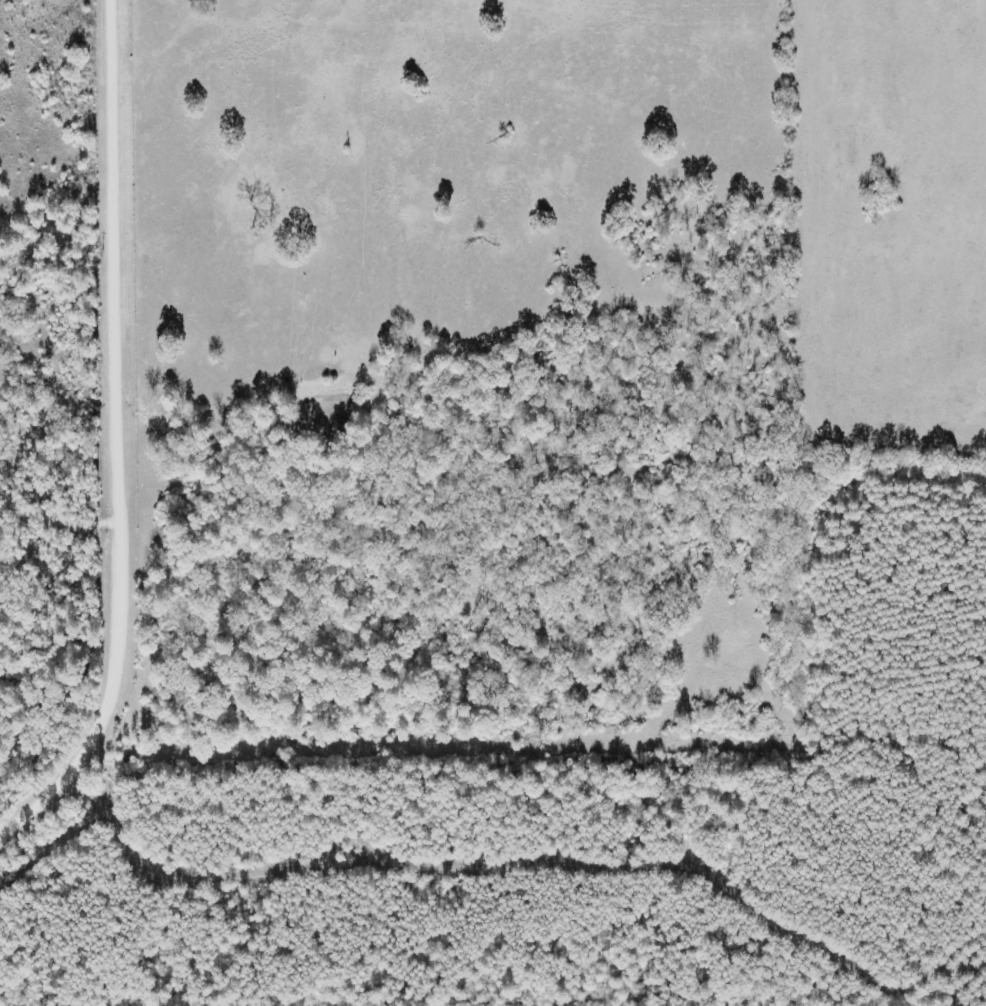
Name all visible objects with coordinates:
road: (116, 434)

